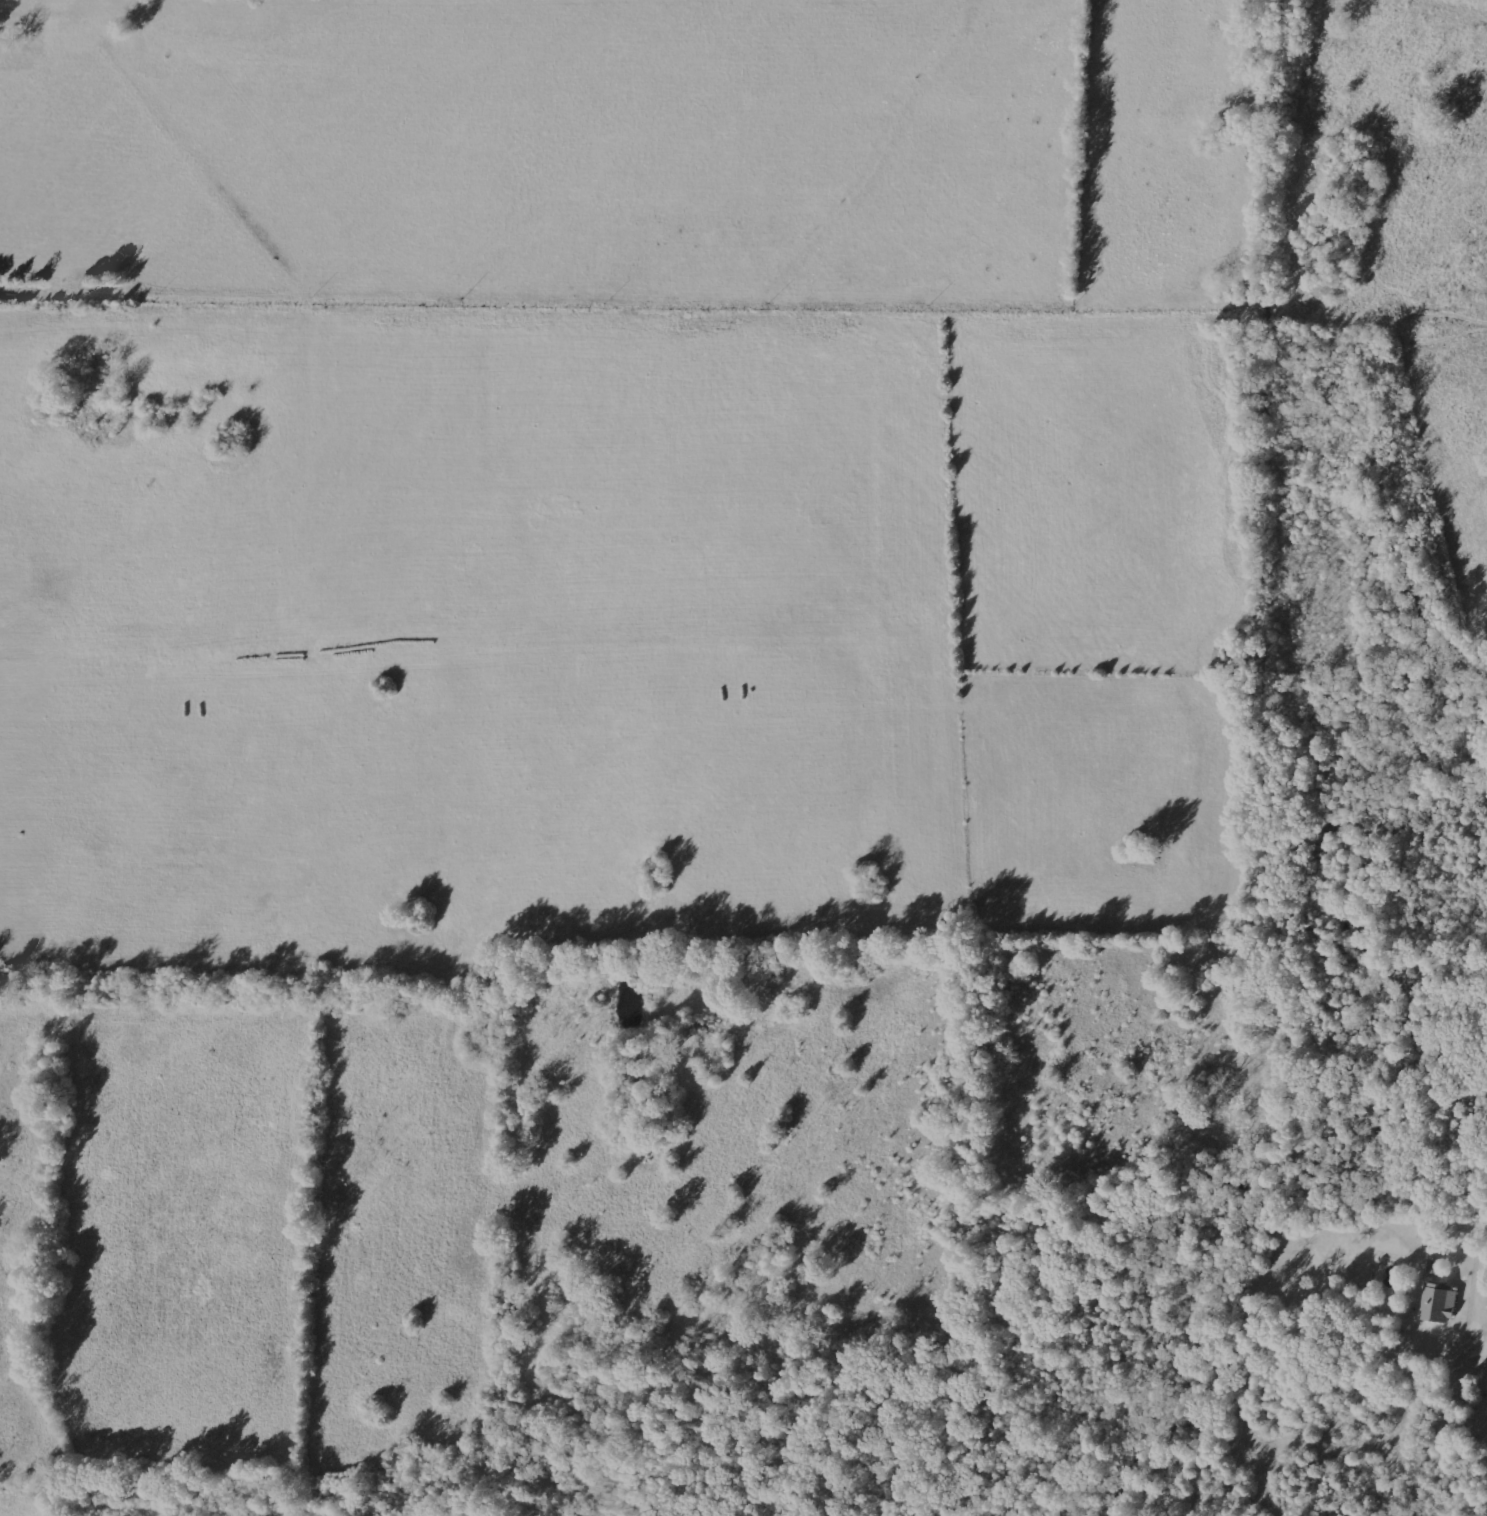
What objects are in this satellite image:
building: (1438, 1304)

